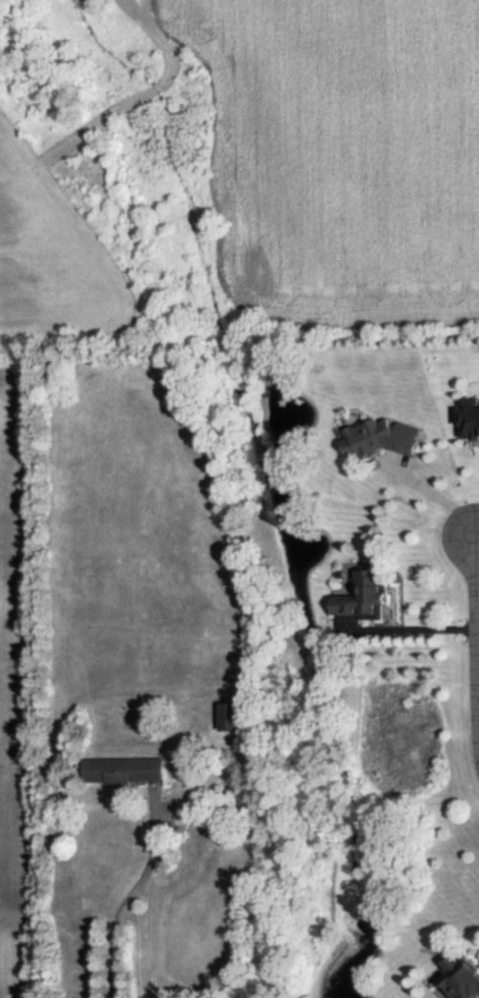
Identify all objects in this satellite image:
building: (469, 417)
building: (380, 437)
road: (434, 495)
road: (477, 537)
building: (364, 594)
road: (406, 628)
road: (475, 648)
road: (477, 671)
building: (229, 714)
building: (122, 769)
road: (128, 896)
building: (461, 976)

